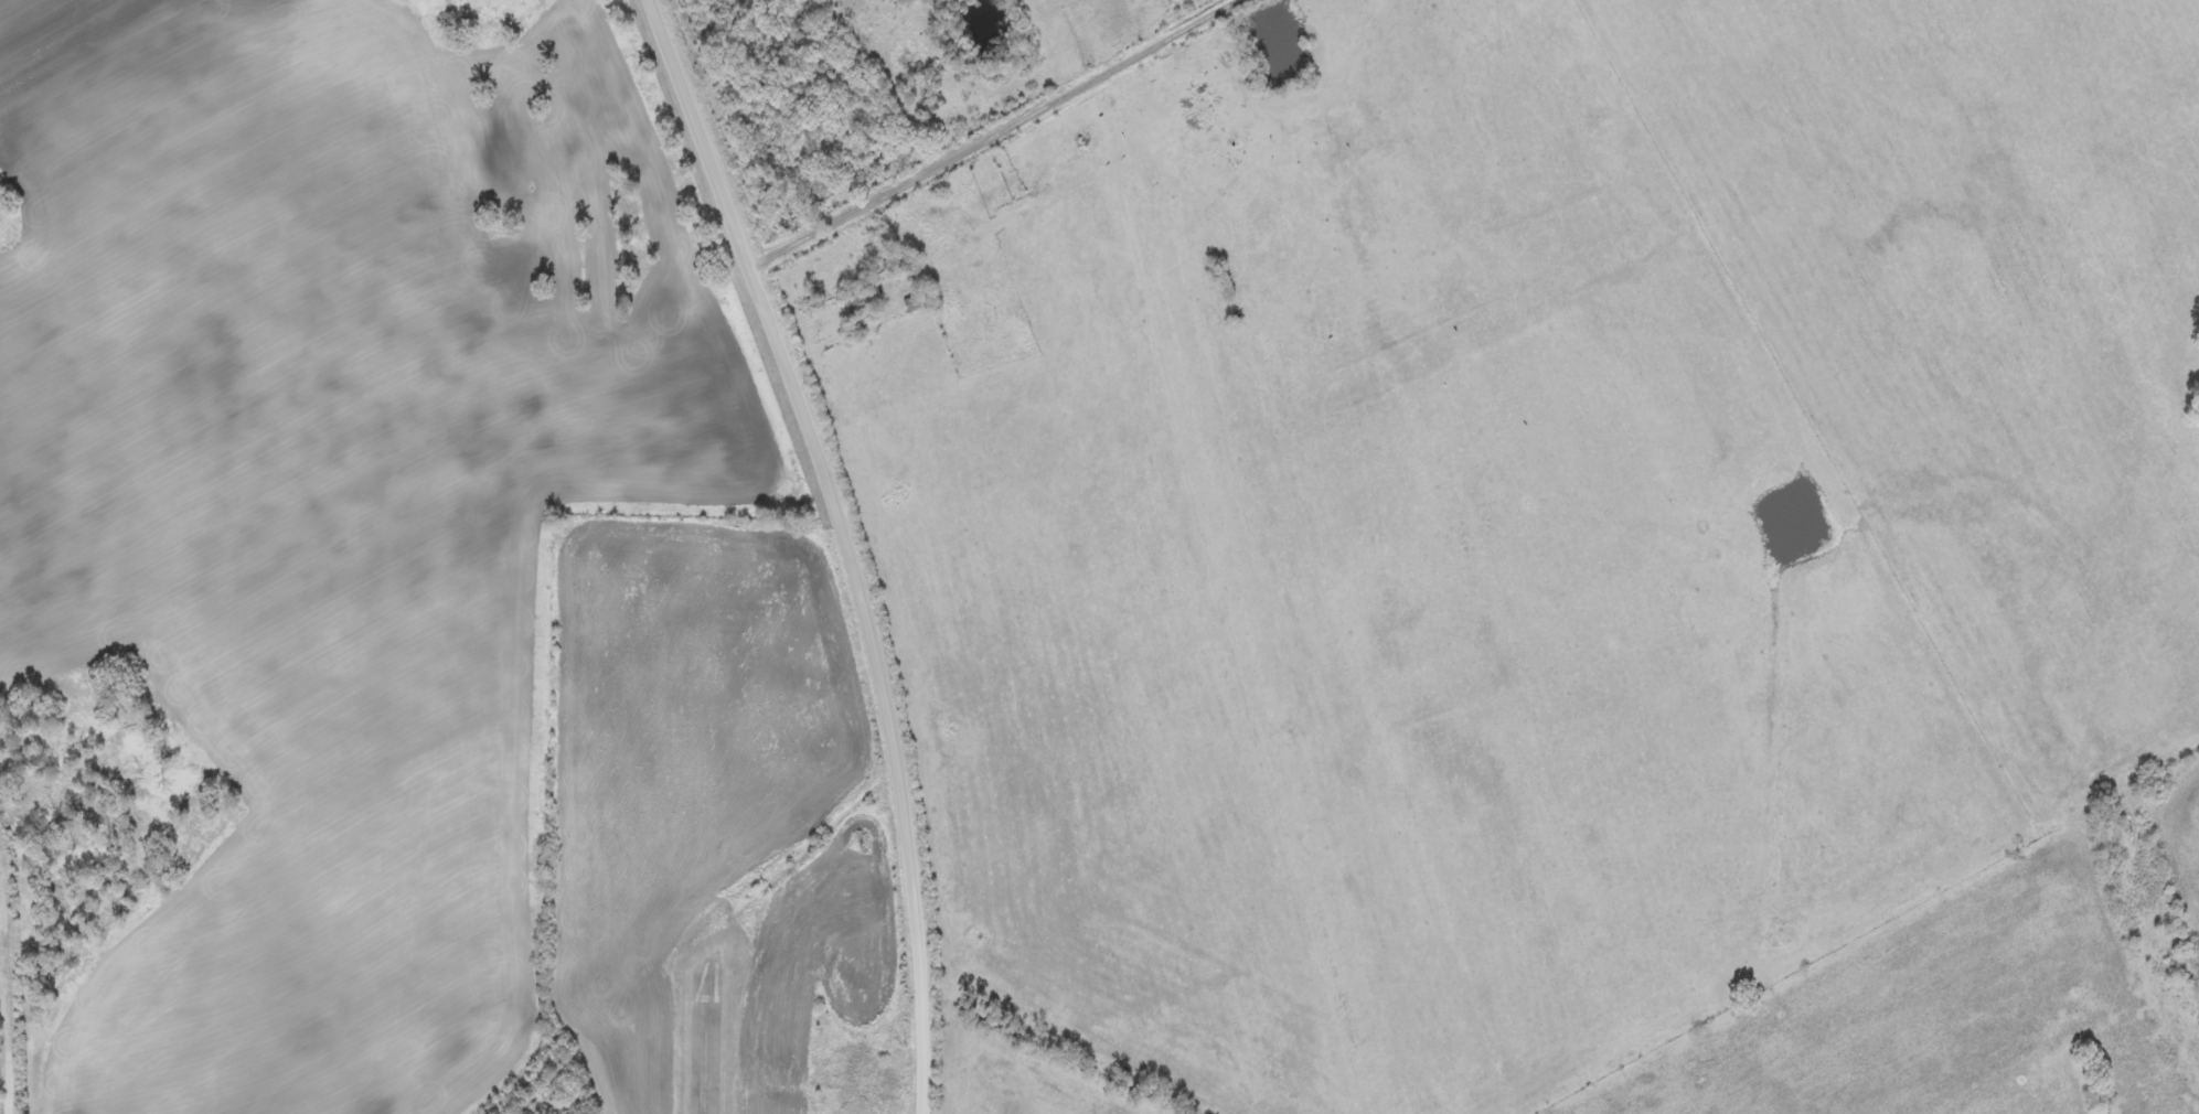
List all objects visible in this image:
road: (1004, 136)
road: (852, 543)
road: (2, 975)
airport runway: (705, 1040)

